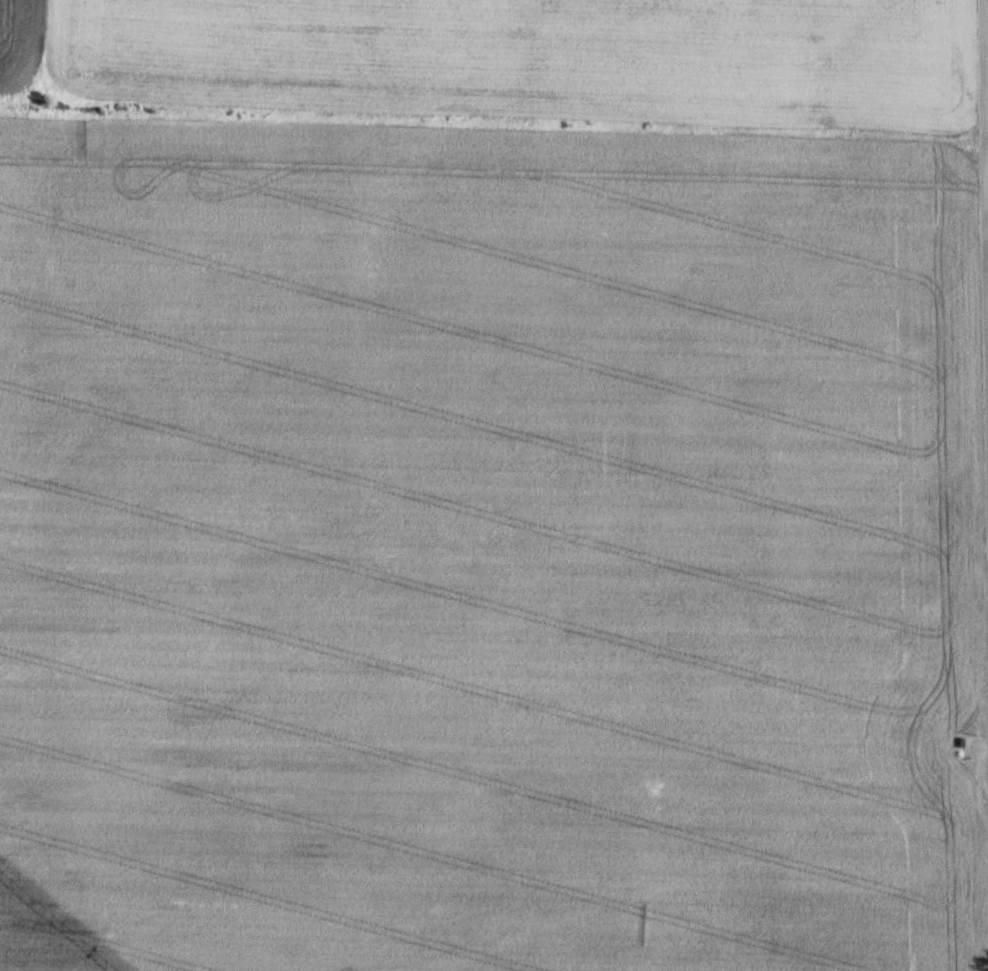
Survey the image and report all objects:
road: (984, 160)

